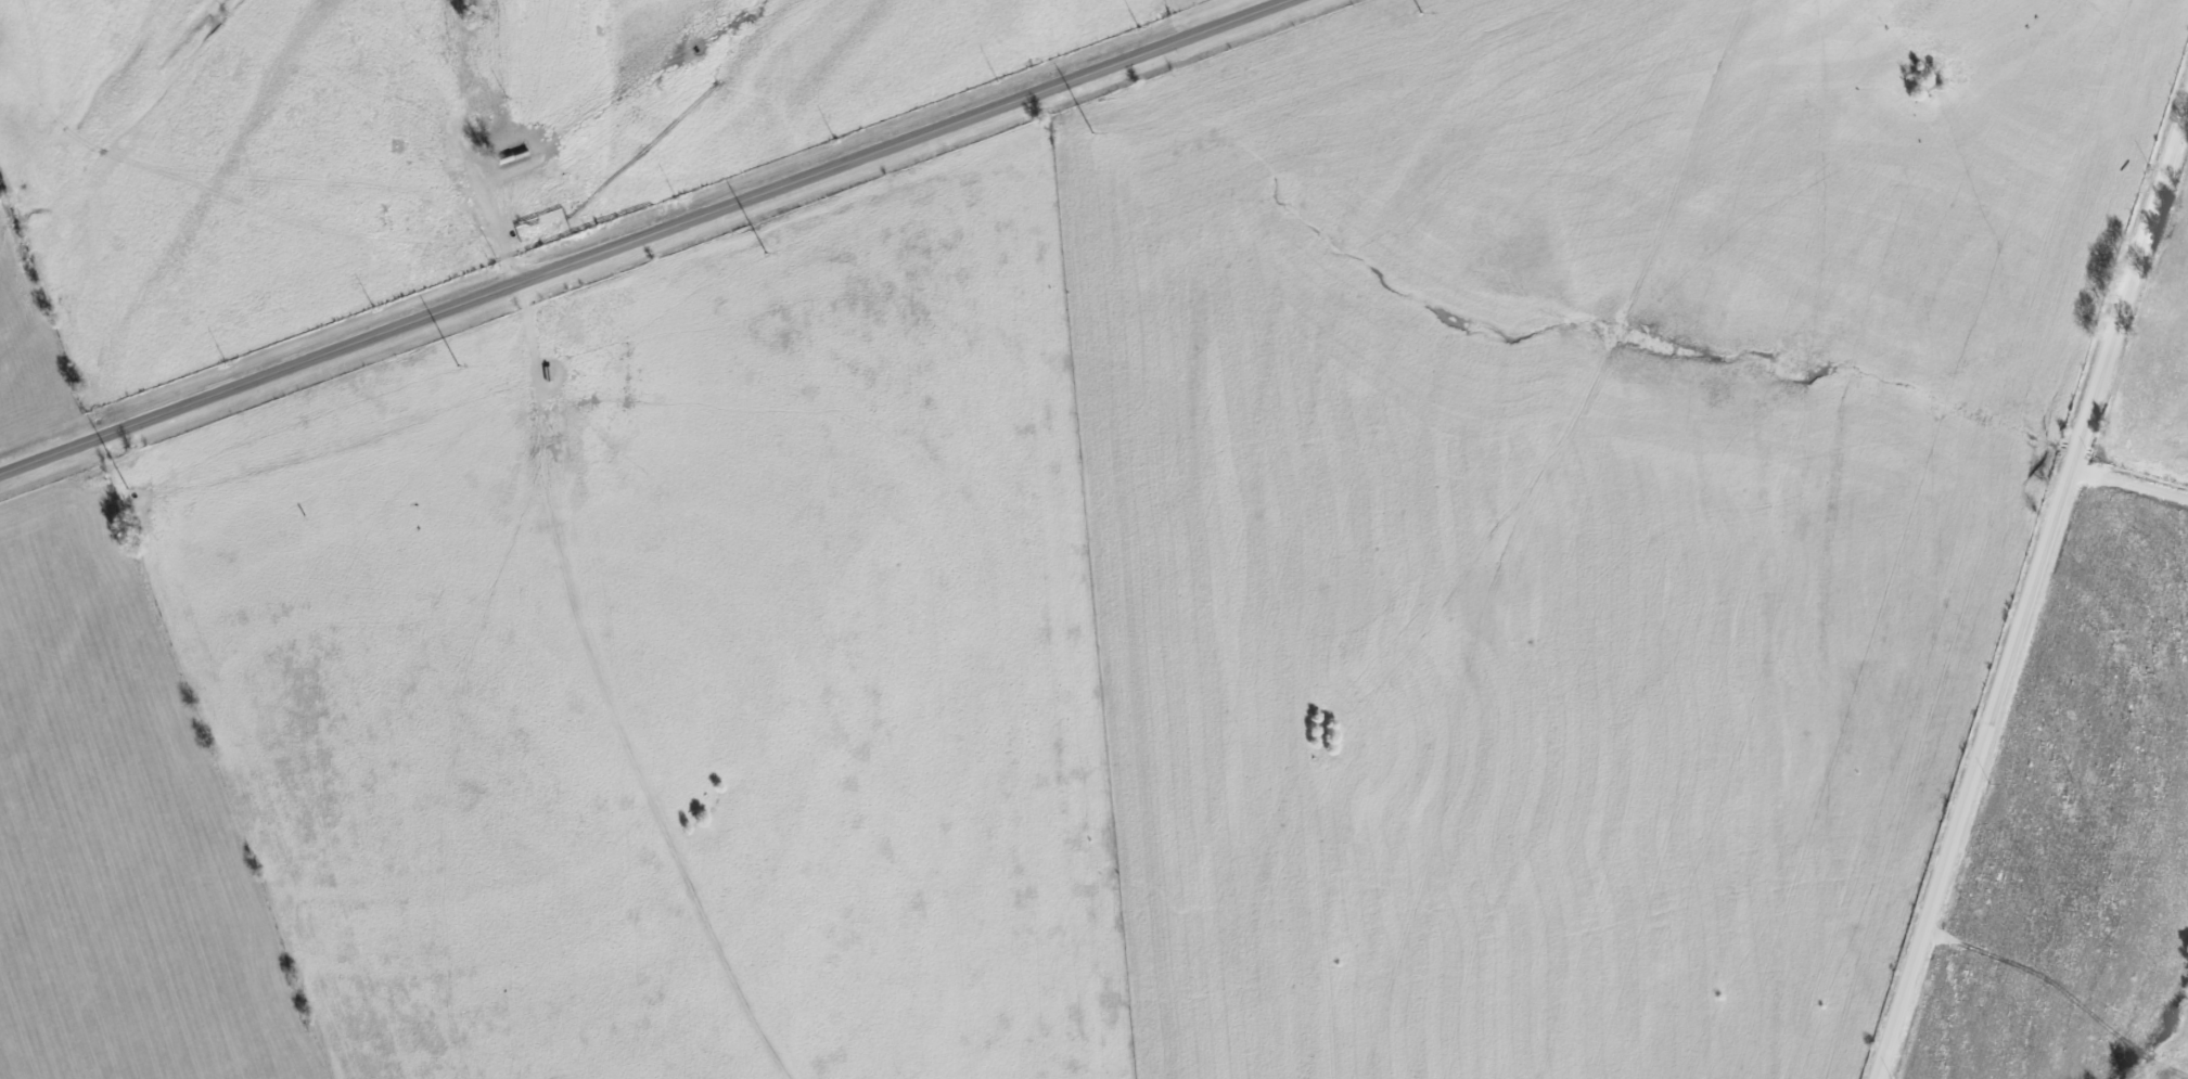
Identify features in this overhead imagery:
power tower: (1421, 13)
power tower: (1089, 133)
road: (647, 235)
power tower: (766, 254)
power tower: (458, 367)
power tower: (128, 489)
road: (2036, 594)

